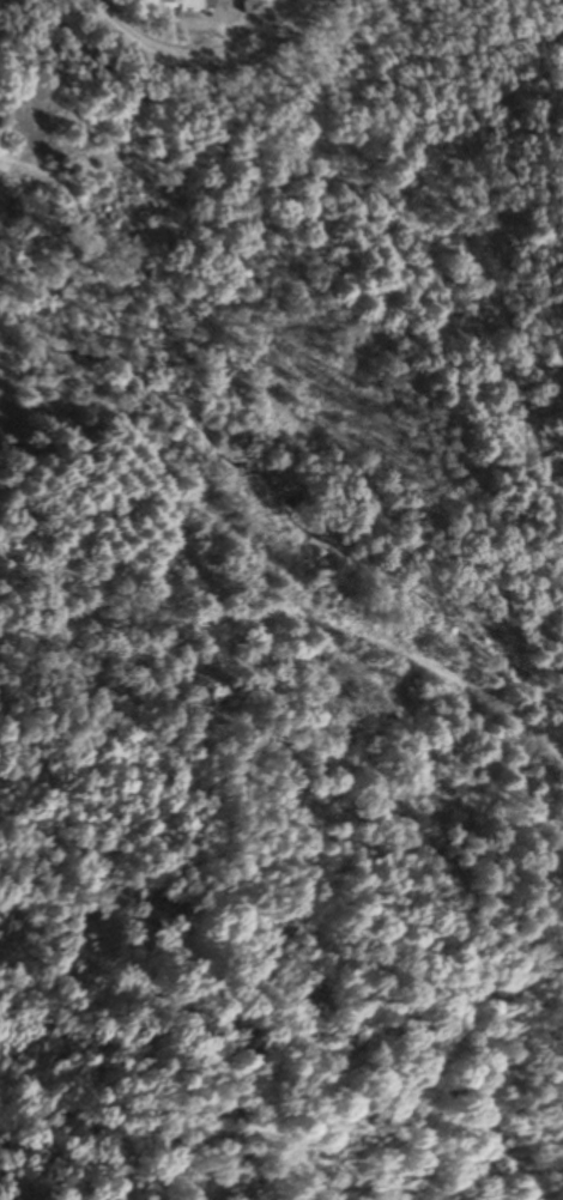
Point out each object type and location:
building: (194, 5)
road: (178, 8)

